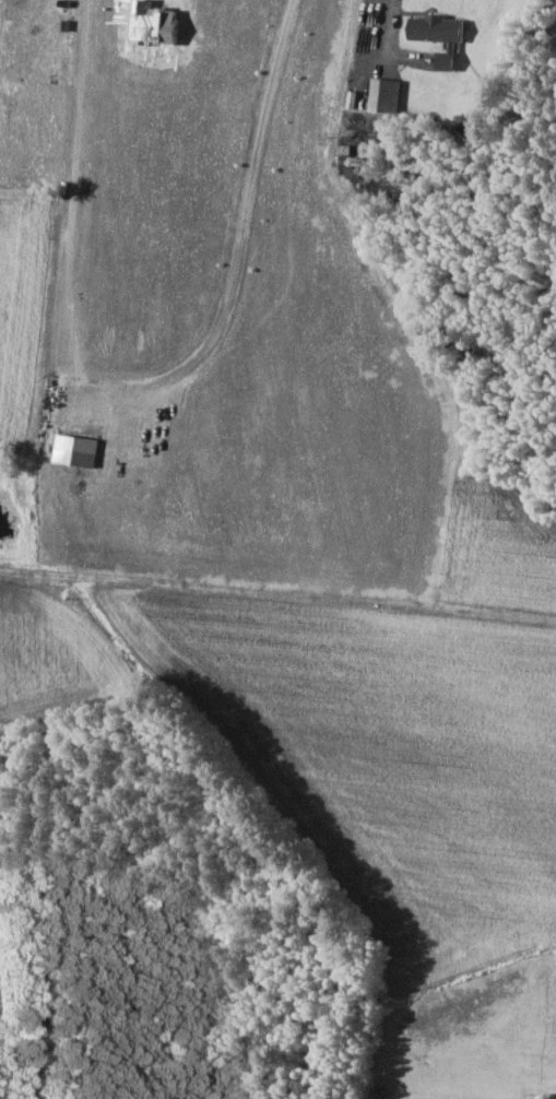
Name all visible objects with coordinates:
road: (391, 1)
building: (440, 27)
building: (388, 95)
road: (277, 599)

